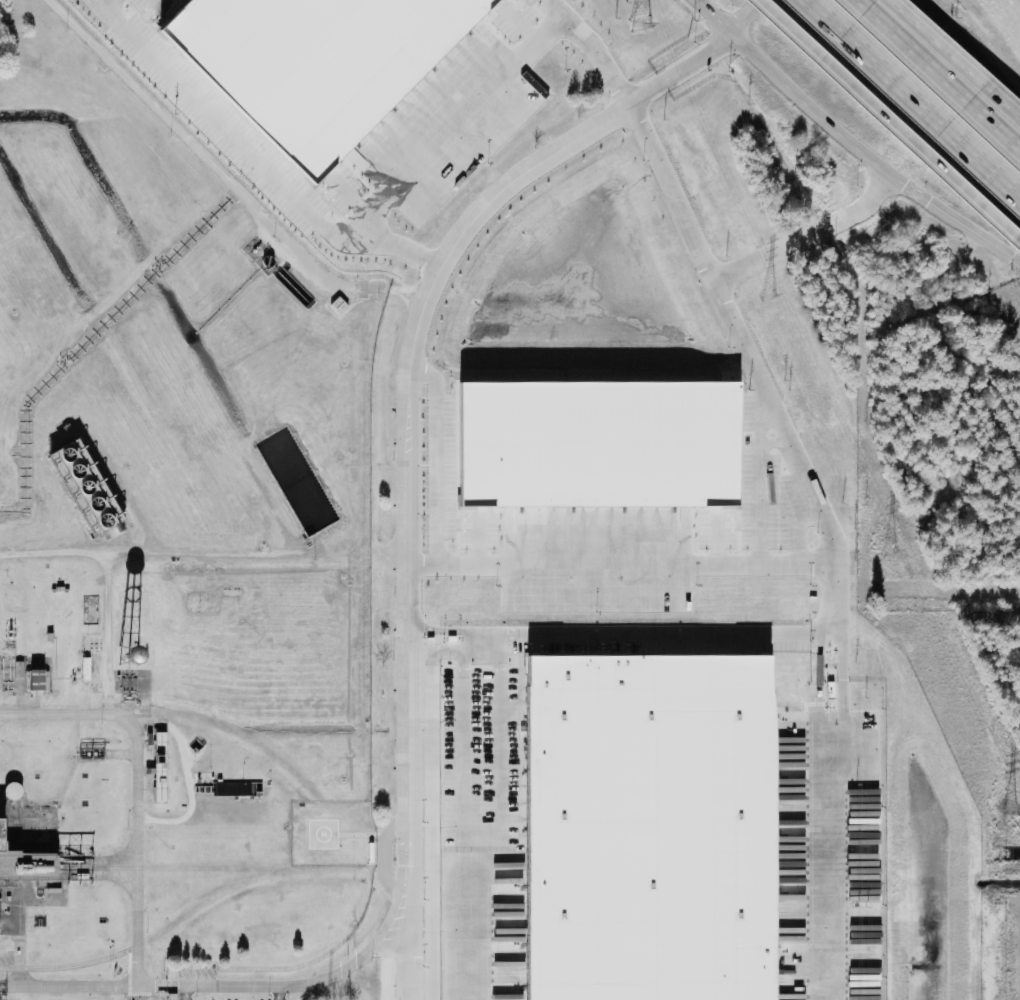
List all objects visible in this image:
road: (98, 1)
road: (746, 17)
power tower: (639, 24)
road: (976, 41)
road: (593, 49)
road: (954, 58)
building: (315, 61)
road: (939, 74)
road: (914, 97)
railway: (966, 111)
road: (888, 122)
road: (457, 124)
road: (848, 141)
road: (251, 155)
road: (221, 173)
road: (722, 272)
power tower: (767, 300)
building: (599, 445)
road: (434, 454)
building: (86, 488)
power plant: (486, 523)
road: (161, 550)
power tower: (889, 555)
road: (775, 565)
road: (403, 609)
road: (645, 636)
building: (85, 668)
building: (19, 669)
building: (40, 679)
road: (158, 723)
railway: (258, 746)
road: (138, 762)
building: (160, 768)
road: (828, 780)
road: (460, 788)
power tower: (1013, 811)
building: (649, 827)
building: (26, 864)
railway: (100, 868)
railway: (1012, 868)
railway: (573, 869)
road: (19, 915)
railway: (166, 929)
road: (389, 960)
road: (186, 992)
road: (280, 992)
road: (139, 993)

